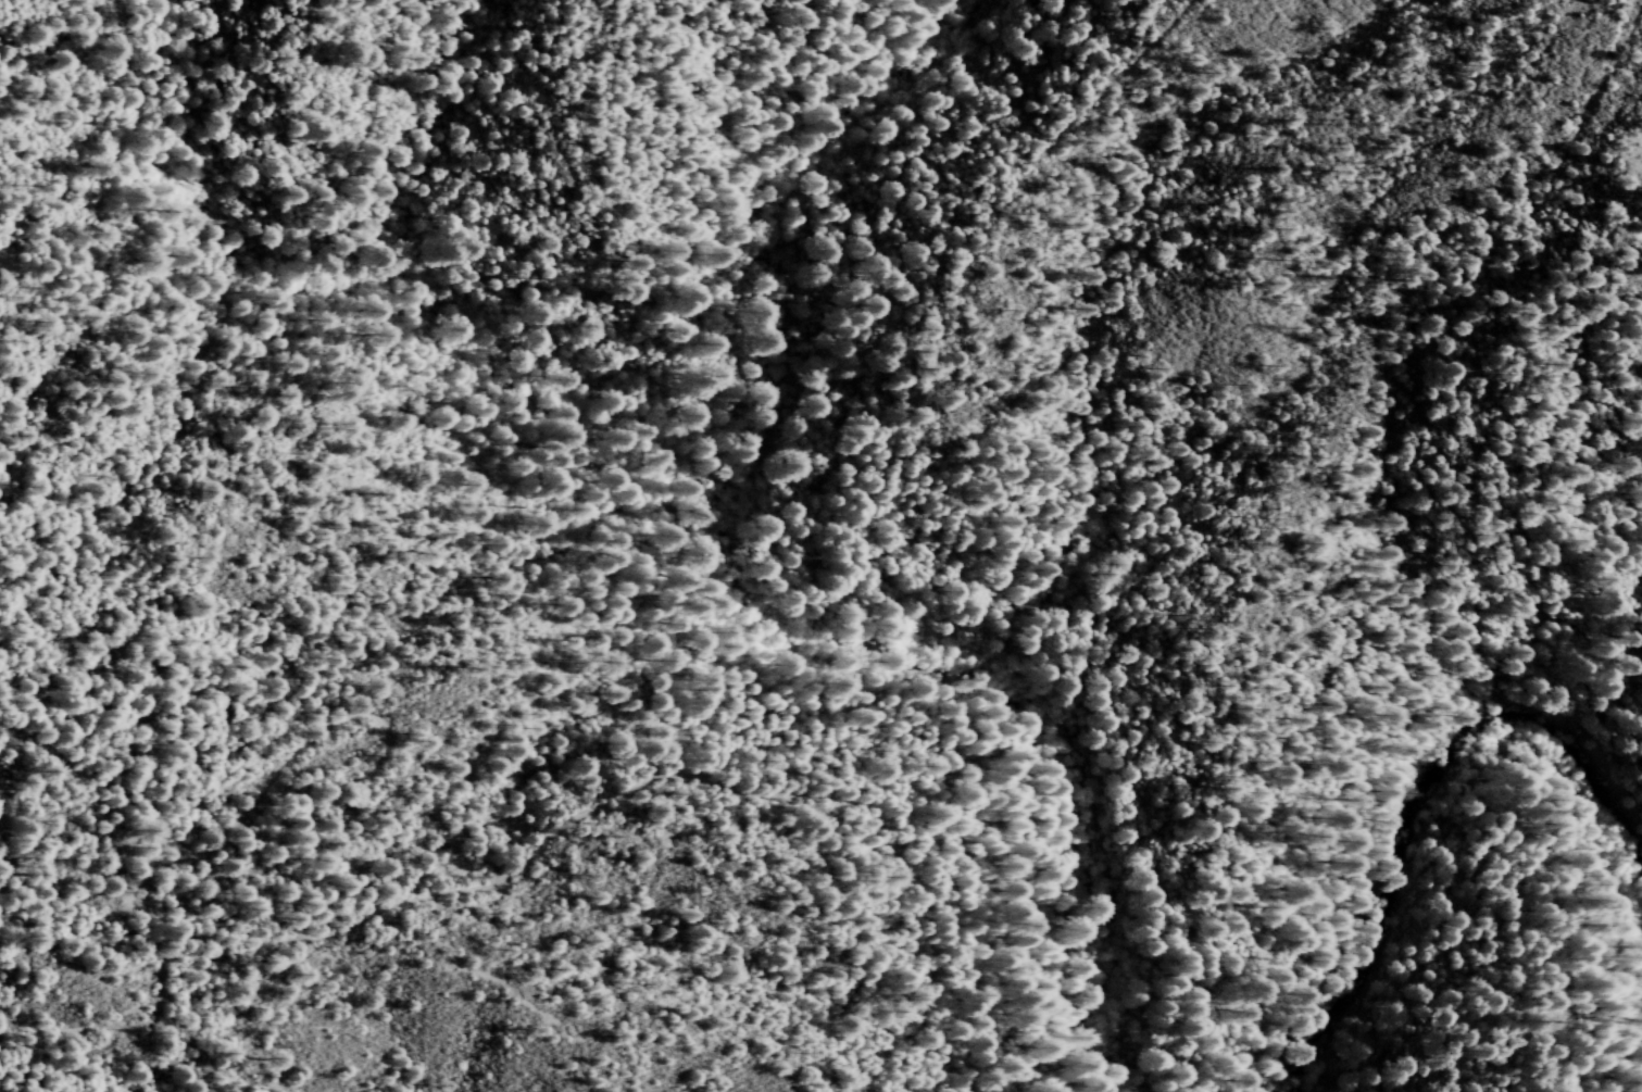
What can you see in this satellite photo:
road: (586, 819)

